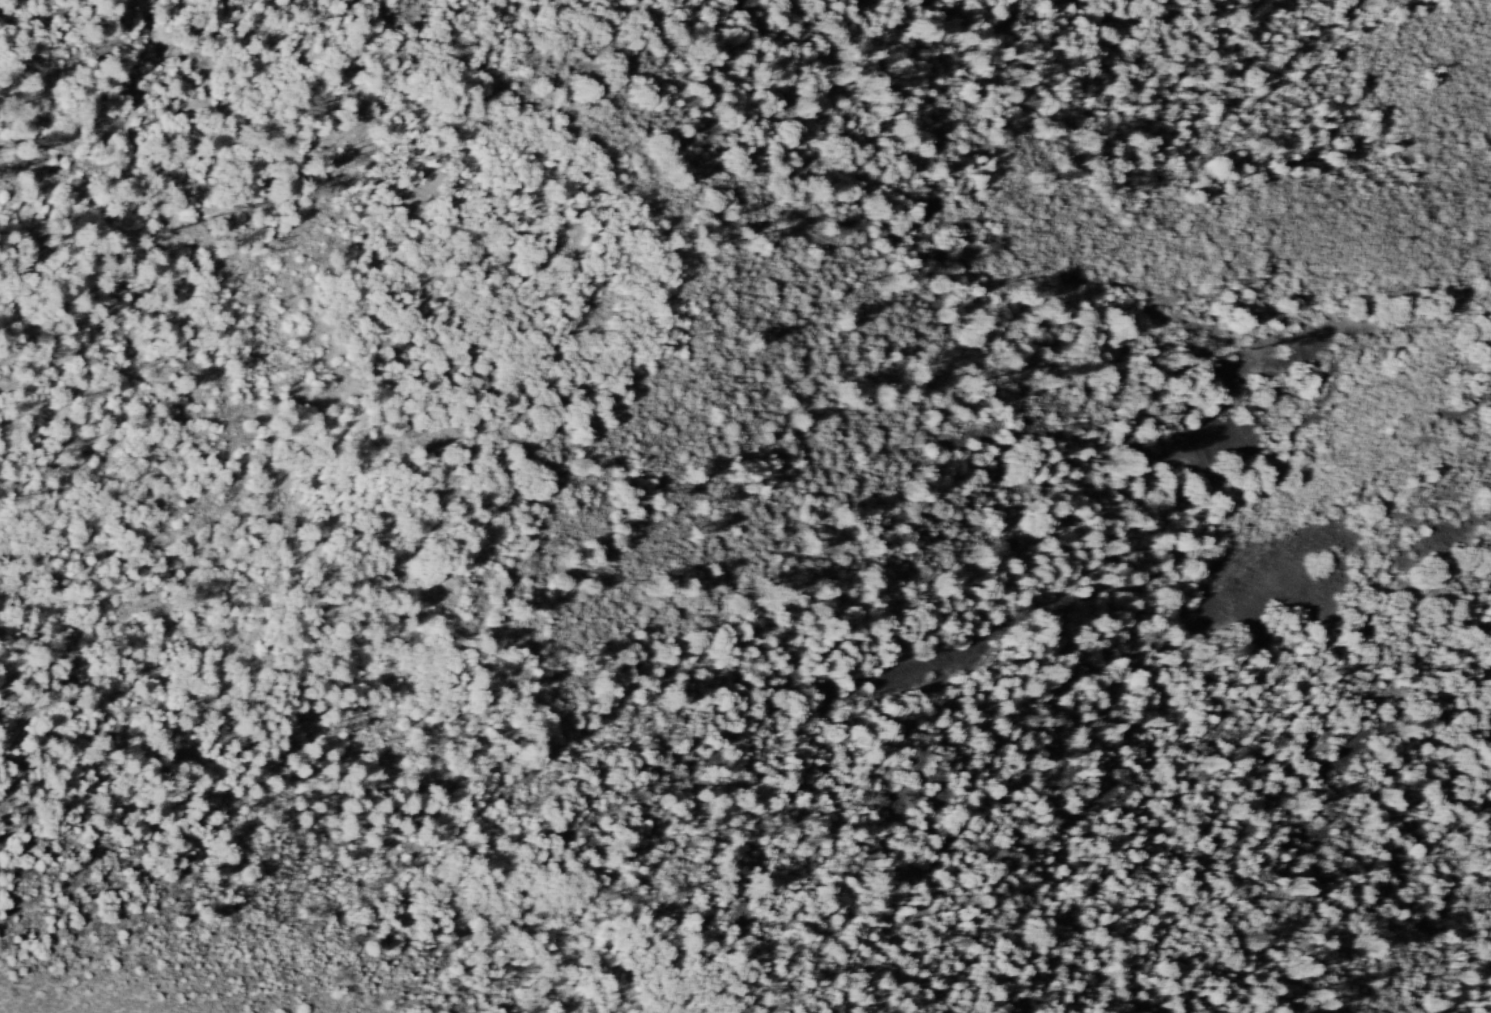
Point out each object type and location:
road: (101, 991)

